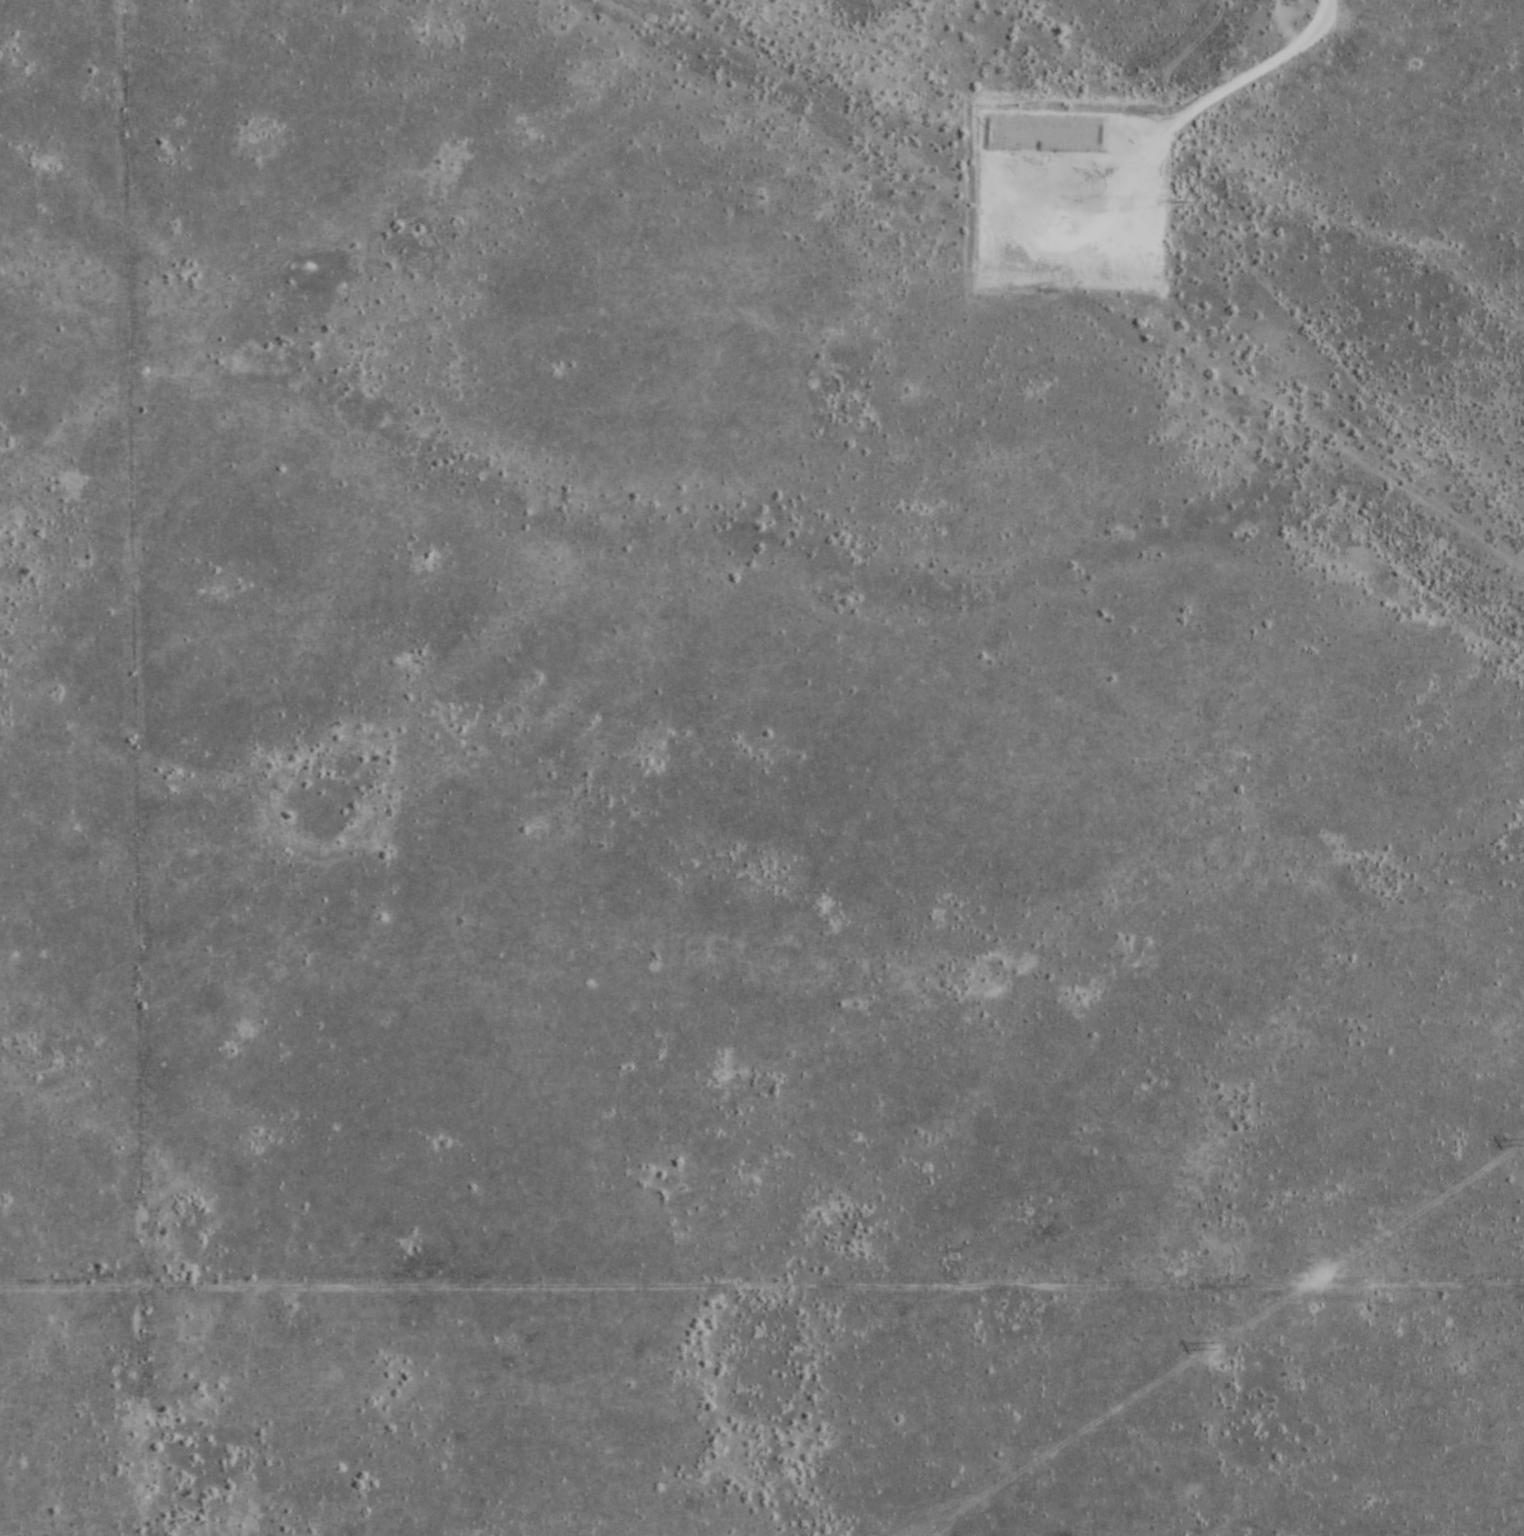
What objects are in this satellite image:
power tower: (1523, 1144)
power tower: (1210, 1346)

